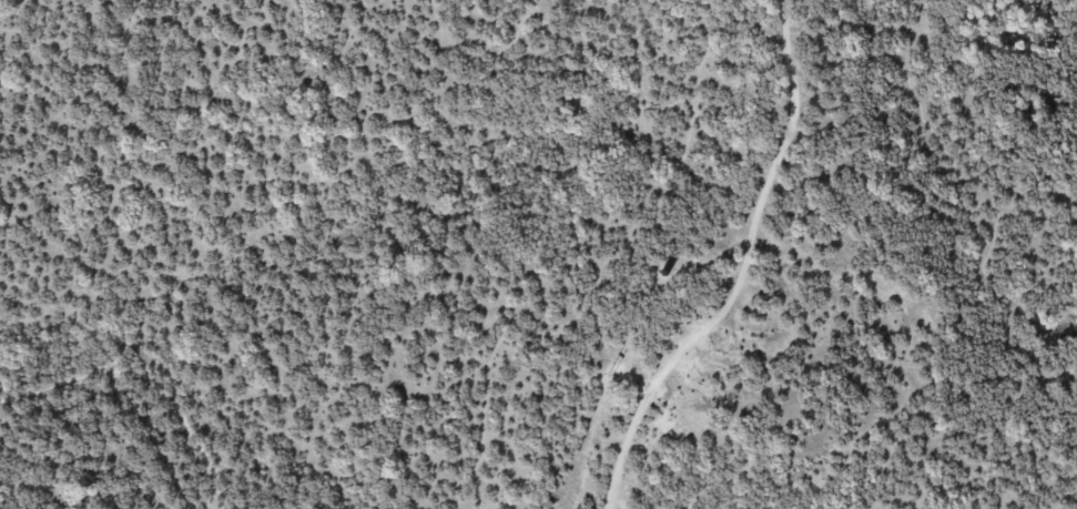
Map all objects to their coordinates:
road: (744, 269)

